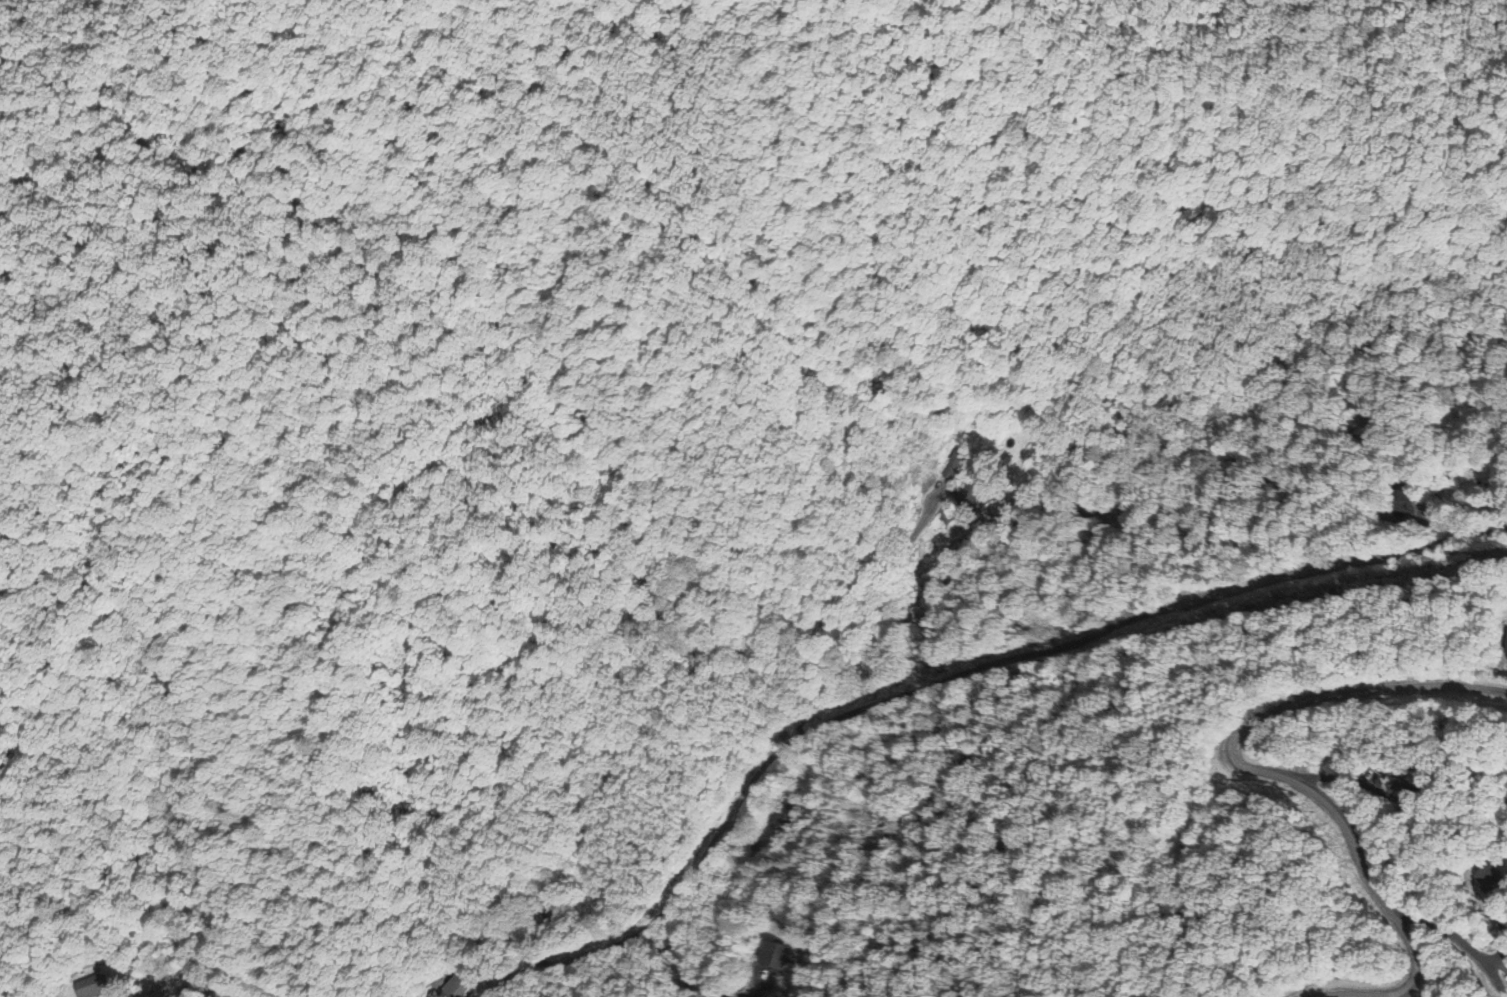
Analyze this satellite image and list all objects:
road: (896, 696)
road: (1276, 773)
road: (1336, 777)
building: (786, 814)
building: (1482, 877)
road: (734, 905)
road: (1455, 935)
road: (1505, 935)
building: (774, 953)
building: (759, 957)
road: (1499, 961)
road: (222, 965)
road: (778, 984)
building: (98, 985)
building: (454, 986)
building: (55, 996)

